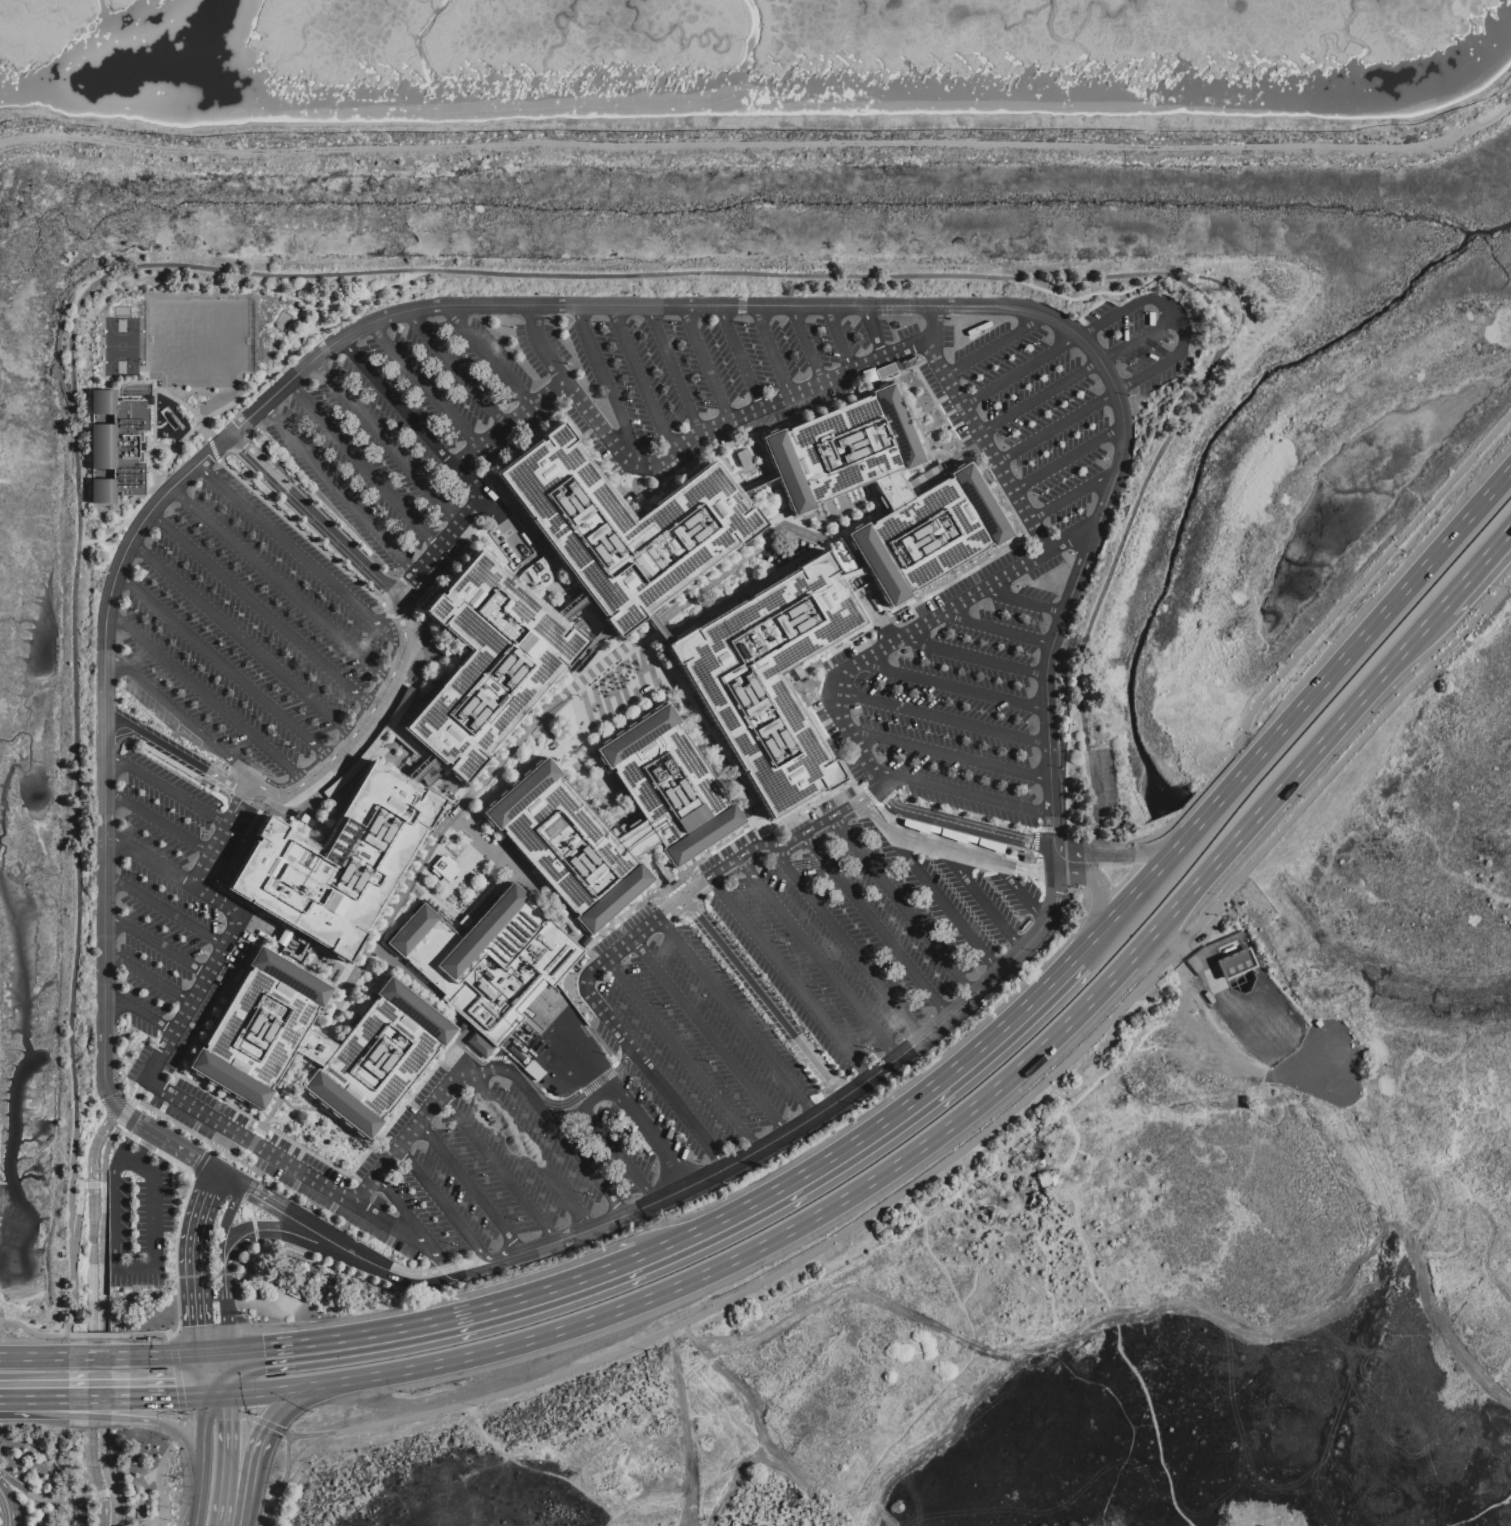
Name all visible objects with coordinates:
road: (760, 140)
road: (402, 269)
road: (1086, 293)
street lamp: (934, 295)
road: (1237, 295)
road: (292, 296)
street lamp: (999, 296)
road: (521, 306)
road: (1129, 307)
street lamp: (1185, 311)
street lamp: (1144, 313)
street lamp: (1073, 320)
street lamp: (669, 322)
street lamp: (597, 323)
street lamp: (742, 323)
road: (937, 325)
street lamp: (510, 326)
street lamp: (982, 332)
road: (302, 333)
road: (871, 333)
street lamp: (1108, 337)
parking lot: (1143, 337)
road: (837, 339)
park: (198, 341)
street lamp: (1167, 343)
street lamp: (1032, 344)
road: (805, 345)
park: (121, 346)
road: (997, 346)
road: (58, 347)
road: (543, 347)
parking lot: (539, 348)
road: (771, 352)
road: (490, 357)
road: (738, 357)
road: (704, 364)
street lamp: (1128, 365)
road: (673, 369)
road: (458, 370)
road: (1022, 371)
road: (1078, 375)
parking lot: (720, 379)
street lamp: (765, 379)
road: (641, 380)
street lamp: (970, 381)
road: (427, 386)
road: (608, 386)
road: (153, 390)
street lamp: (1128, 396)
street lamp: (742, 398)
road: (1106, 399)
street lamp: (1066, 401)
road: (400, 403)
road: (938, 409)
road: (910, 415)
road: (732, 420)
road: (513, 423)
road: (205, 430)
parking lot: (409, 437)
street lamp: (1006, 437)
road: (389, 443)
building: (116, 445)
road: (987, 449)
road: (212, 450)
road: (935, 450)
road: (962, 451)
road: (757, 454)
road: (145, 455)
street lamp: (1132, 457)
building: (739, 458)
road: (1067, 459)
street lamp: (1101, 459)
road: (689, 464)
road: (366, 466)
road: (727, 466)
road: (974, 468)
road: (161, 477)
road: (635, 480)
road: (472, 482)
building: (883, 491)
road: (339, 493)
street lamp: (1039, 494)
road: (1073, 496)
road: (317, 515)
street lamp: (1068, 515)
street lamp: (1110, 519)
road: (310, 522)
building: (623, 525)
road: (300, 531)
road: (1073, 537)
road: (98, 539)
road: (442, 548)
road: (496, 550)
street lamp: (1069, 553)
building: (840, 554)
road: (300, 555)
road: (444, 571)
road: (1478, 571)
road: (851, 575)
street lamp: (1088, 578)
road: (280, 586)
street lamp: (1017, 587)
parking lot: (978, 591)
road: (1022, 604)
road: (391, 606)
road: (572, 606)
road: (896, 608)
road: (951, 609)
road: (262, 611)
road: (417, 622)
road: (655, 625)
parking lot: (247, 631)
road: (996, 632)
street lamp: (1065, 637)
road: (648, 640)
road: (241, 641)
road: (586, 647)
road: (445, 648)
road: (1305, 648)
street lamp: (1023, 655)
road: (974, 659)
building: (486, 661)
road: (224, 668)
building: (768, 676)
road: (820, 685)
road: (955, 687)
road: (572, 691)
road: (206, 697)
street lamp: (1057, 703)
road: (548, 705)
road: (577, 707)
street lamp: (871, 716)
road: (1295, 717)
road: (185, 719)
road: (943, 720)
street lamp: (888, 721)
street lamp: (1020, 722)
road: (701, 725)
street lamp: (905, 725)
road: (360, 726)
road: (574, 726)
street lamp: (924, 729)
road: (848, 730)
street lamp: (943, 735)
street lamp: (285, 742)
road: (556, 747)
road: (178, 752)
road: (949, 756)
road: (1065, 765)
road: (421, 769)
street lamp: (1059, 769)
road: (517, 775)
parking lot: (1100, 778)
road: (329, 782)
street lamp: (128, 786)
road: (169, 789)
street lamp: (1022, 791)
road: (961, 794)
road: (870, 796)
road: (886, 798)
road: (1092, 803)
road: (808, 806)
road: (963, 813)
road: (877, 817)
street lamp: (1062, 818)
building: (540, 819)
street lamp: (190, 822)
road: (832, 822)
road: (967, 822)
road: (161, 823)
road: (962, 829)
road: (1050, 830)
road: (1052, 833)
road: (953, 834)
road: (769, 836)
street lamp: (201, 837)
road: (222, 840)
road: (1034, 842)
road: (939, 846)
road: (492, 850)
road: (1064, 852)
road: (1083, 855)
road: (1134, 857)
building: (334, 859)
road: (745, 859)
road: (151, 860)
building: (443, 867)
street lamp: (185, 869)
road: (1025, 870)
road: (462, 872)
street lamp: (970, 872)
street lamp: (137, 876)
street lamp: (211, 880)
road: (1054, 888)
street lamp: (1075, 888)
road: (1097, 889)
road: (1018, 893)
road: (434, 895)
street lamp: (999, 896)
road: (979, 899)
road: (685, 900)
road: (219, 901)
road: (944, 903)
road: (905, 908)
street lamp: (198, 911)
road: (166, 914)
parking lot: (866, 921)
road: (612, 925)
road: (880, 927)
road: (633, 941)
road: (264, 942)
street lamp: (783, 943)
road: (852, 945)
road: (1182, 950)
street lamp: (1034, 952)
street lamp: (146, 957)
road: (242, 958)
building: (486, 958)
road: (821, 960)
building: (1233, 963)
road: (412, 978)
road: (792, 980)
road: (150, 982)
park: (363, 983)
street lamp: (818, 987)
park: (421, 996)
road: (197, 998)
road: (763, 1000)
road: (593, 1001)
street lamp: (662, 1005)
street lamp: (975, 1008)
road: (141, 1016)
park: (340, 1016)
road: (738, 1018)
park: (317, 1029)
park: (336, 1033)
road: (462, 1034)
road: (711, 1038)
building: (316, 1041)
building: (477, 1044)
street lamp: (865, 1048)
road: (623, 1056)
road: (683, 1056)
street lamp: (914, 1058)
parking lot: (448, 1059)
street lamp: (706, 1061)
road: (616, 1069)
road: (520, 1070)
street lamp: (178, 1071)
road: (514, 1071)
road: (598, 1082)
street lamp: (503, 1090)
road: (139, 1091)
road: (278, 1094)
street lamp: (125, 1099)
street lamp: (851, 1104)
road: (676, 1107)
road: (633, 1111)
road: (122, 1115)
road: (286, 1115)
road: (131, 1117)
road: (332, 1119)
street lamp: (752, 1119)
road: (421, 1123)
road: (952, 1126)
street lamp: (171, 1127)
road: (877, 1129)
street lamp: (445, 1131)
road: (278, 1133)
street lamp: (538, 1134)
road: (199, 1138)
road: (568, 1141)
road: (251, 1143)
road: (252, 1143)
road: (611, 1143)
road: (332, 1144)
street lamp: (788, 1146)
road: (209, 1147)
road: (177, 1148)
road: (348, 1150)
road: (145, 1152)
street lamp: (212, 1153)
road: (532, 1153)
road: (103, 1155)
road: (243, 1158)
road: (199, 1162)
street lamp: (648, 1165)
road: (940, 1169)
road: (500, 1170)
street lamp: (481, 1175)
road: (711, 1177)
road: (76, 1179)
road: (232, 1179)
road: (359, 1180)
street lamp: (264, 1183)
street lamp: (720, 1183)
street lamp: (404, 1184)
road: (82, 1186)
road: (91, 1187)
road: (100, 1187)
road: (473, 1188)
road: (247, 1189)
street lamp: (585, 1193)
road: (237, 1199)
road: (266, 1199)
road: (444, 1206)
street lamp: (304, 1207)
road: (247, 1208)
street lamp: (219, 1209)
road: (179, 1211)
street lamp: (659, 1212)
road: (201, 1214)
road: (407, 1214)
parking lot: (137, 1217)
street lamp: (515, 1220)
road: (75, 1223)
road: (305, 1223)
road: (254, 1227)
road: (395, 1229)
street lamp: (349, 1234)
road: (293, 1237)
street lamp: (587, 1242)
road: (224, 1243)
street lamp: (450, 1244)
road: (234, 1249)
street lamp: (460, 1258)
street lamp: (211, 1259)
road: (443, 1263)
street lamp: (399, 1264)
street lamp: (513, 1267)
road: (125, 1270)
road: (196, 1277)
road: (226, 1285)
street lamp: (438, 1287)
road: (212, 1296)
road: (71, 1299)
road: (94, 1314)
street lamp: (214, 1314)
street lamp: (252, 1316)
street lamp: (278, 1319)
road: (444, 1320)
street lamp: (263, 1321)
street lamp: (258, 1322)
traffic signals: (199, 1324)
road: (230, 1324)
road: (199, 1326)
road: (31, 1332)
road: (102, 1337)
road: (68, 1338)
traffic signals: (262, 1349)
road: (217, 1354)
road: (167, 1356)
road: (177, 1356)
road: (101, 1357)
road: (101, 1357)
road: (35, 1358)
road: (233, 1375)
road: (204, 1376)
road: (265, 1393)
street lamp: (401, 1393)
road: (220, 1397)
road: (194, 1398)
road: (157, 1399)
traffic signals: (175, 1399)
road: (101, 1400)
road: (35, 1401)
road: (280, 1405)
road: (100, 1409)
traffic signals: (234, 1419)
traffic signals: (174, 1426)
traffic signals: (263, 1427)
road: (180, 1430)
road: (206, 1437)
road: (234, 1443)
road: (251, 1457)
park: (44, 1458)
park: (135, 1471)
road: (159, 1475)
road: (282, 1481)
park: (173, 1486)
road: (110, 1490)
road: (6, 1494)
road: (96, 1494)
road: (40, 1495)
road: (201, 1501)
street lamp: (178, 1502)
road: (226, 1507)
park: (53, 1512)
road: (2, 1513)
road: (49, 1513)
road: (14, 1515)
road: (162, 1518)

